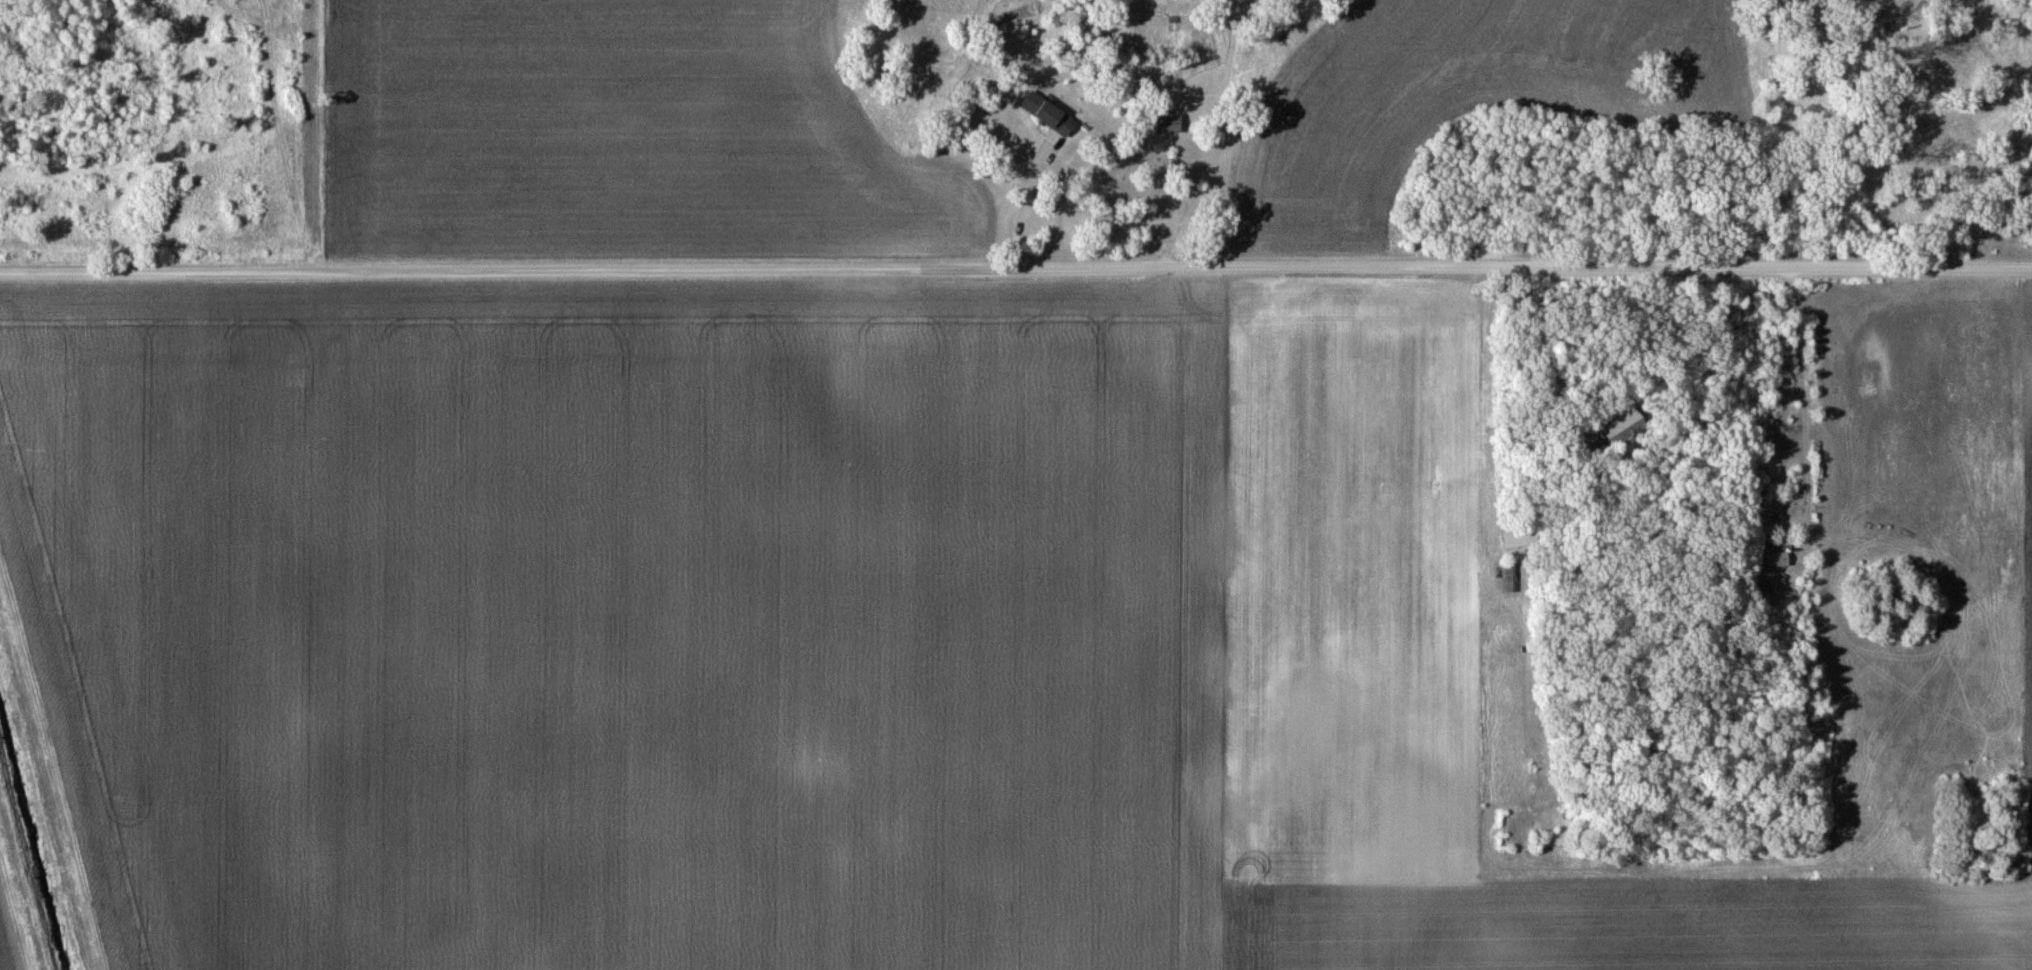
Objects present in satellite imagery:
building: (1049, 119)
building: (1166, 122)
road: (1204, 159)
road: (1034, 197)
road: (1015, 265)
road: (1489, 391)
road: (1811, 431)
building: (1518, 536)
building: (1774, 559)
building: (1510, 576)

